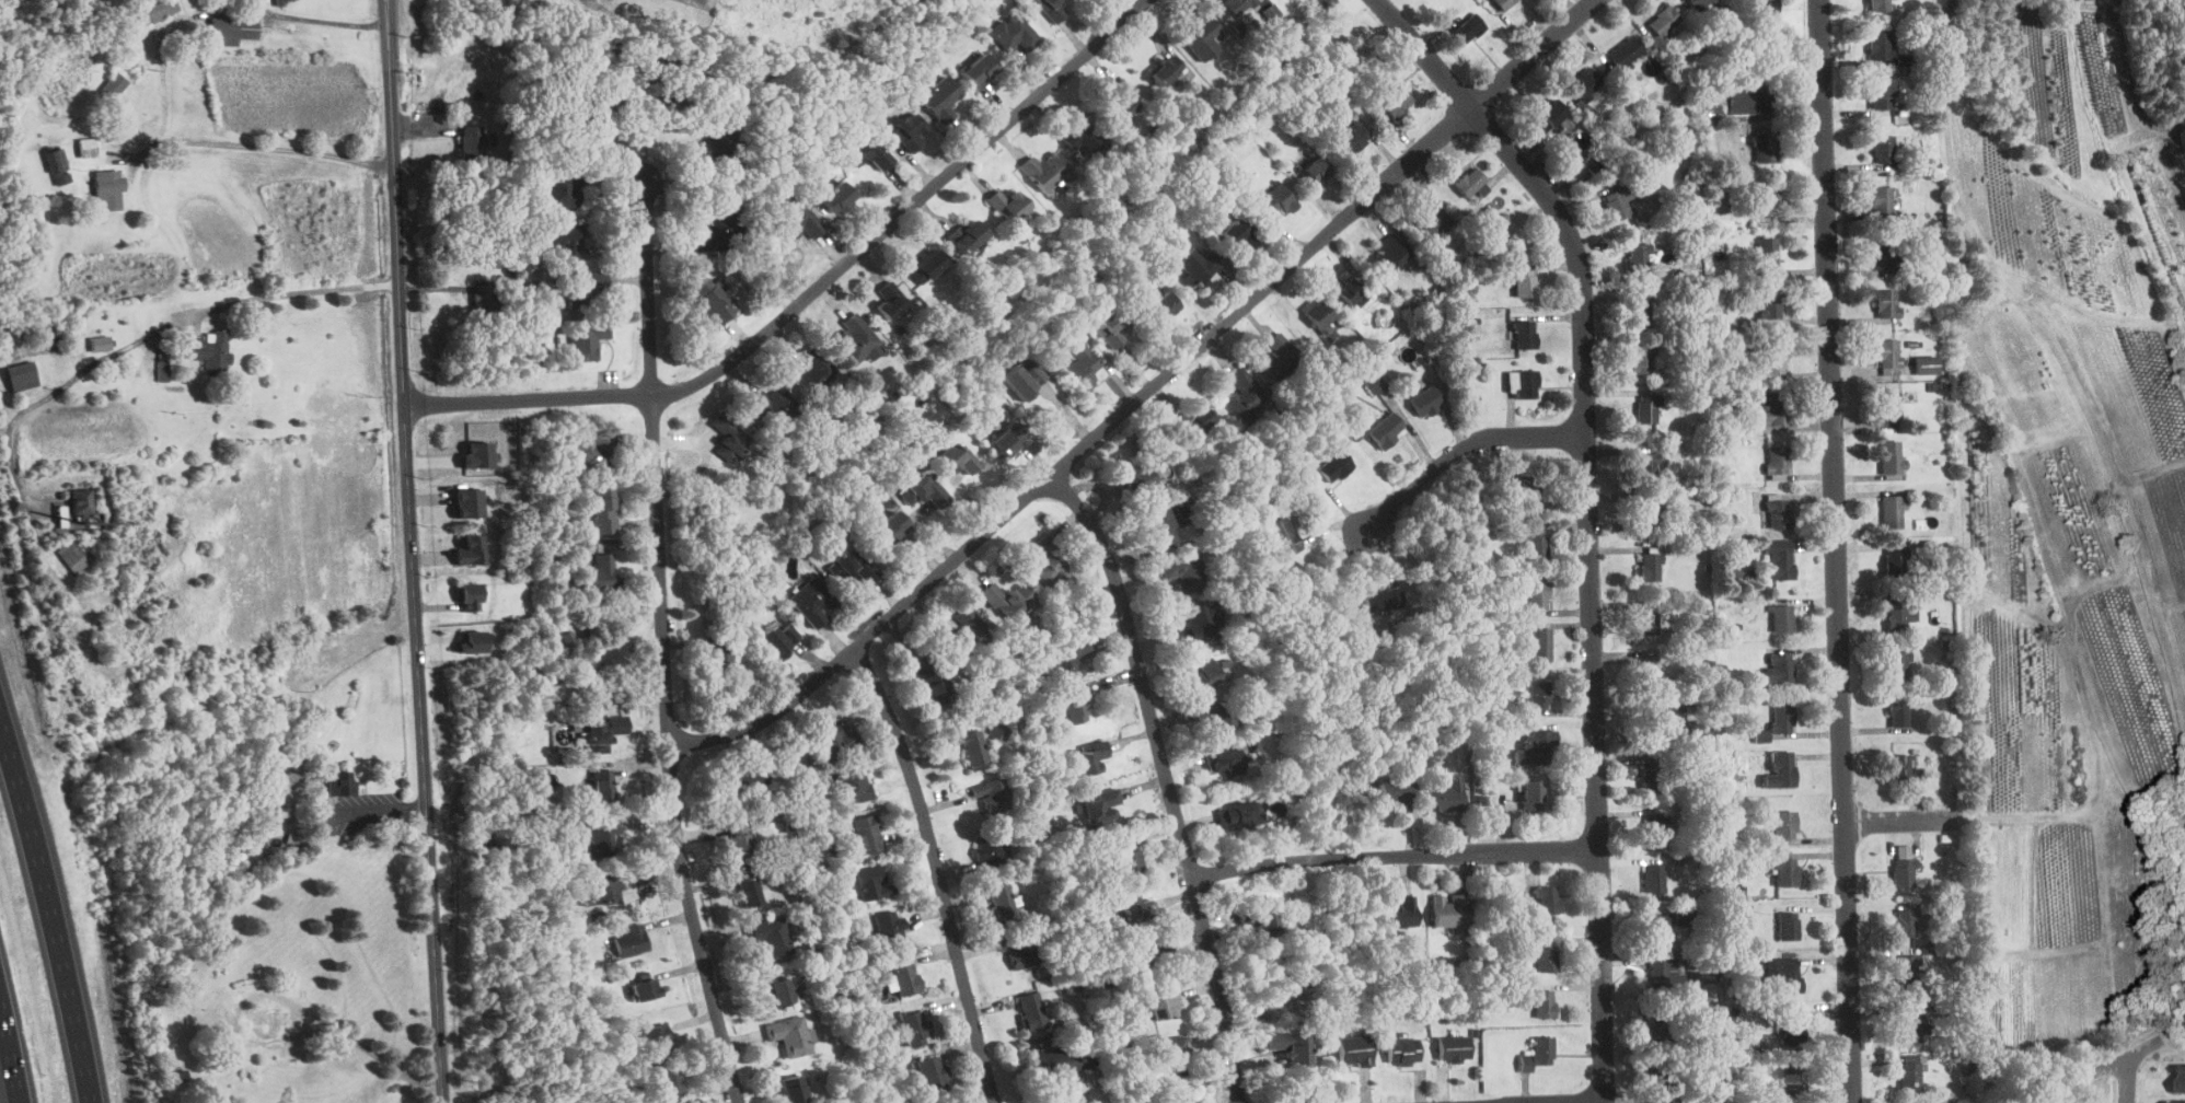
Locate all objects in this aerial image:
building: (285, 1)
building: (1325, 3)
building: (1503, 3)
building: (1700, 3)
building: (1237, 5)
building: (1765, 5)
building: (1878, 5)
building: (1053, 8)
building: (154, 10)
road: (333, 20)
building: (1663, 22)
building: (233, 27)
building: (1468, 28)
building: (1014, 32)
building: (1203, 39)
building: (1880, 46)
building: (1626, 54)
building: (1168, 69)
building: (980, 70)
building: (1585, 84)
building: (113, 85)
building: (1881, 95)
building: (940, 98)
building: (1121, 98)
building: (1750, 98)
building: (652, 100)
building: (1397, 103)
building: (1552, 113)
building: (593, 123)
building: (909, 131)
building: (1083, 138)
building: (1353, 138)
building: (470, 143)
road: (262, 147)
building: (88, 148)
building: (719, 149)
building: (1764, 149)
building: (1884, 149)
building: (866, 152)
building: (57, 166)
building: (1316, 170)
building: (1044, 171)
building: (1470, 183)
building: (564, 188)
building: (108, 190)
building: (836, 197)
building: (1619, 197)
building: (1276, 200)
building: (1765, 201)
building: (1881, 201)
building: (1007, 205)
building: (793, 214)
building: (1433, 221)
building: (718, 231)
building: (1237, 234)
building: (967, 236)
building: (564, 239)
building: (1389, 252)
building: (1767, 254)
building: (1886, 254)
building: (1639, 258)
building: (927, 266)
building: (1198, 267)
building: (1523, 282)
building: (580, 288)
road: (811, 290)
building: (1350, 290)
building: (483, 298)
building: (713, 301)
building: (891, 301)
building: (1887, 303)
building: (1770, 304)
building: (1165, 305)
building: (1318, 314)
building: (1639, 314)
building: (1110, 327)
road: (151, 334)
building: (1524, 334)
building: (586, 339)
building: (855, 339)
building: (100, 342)
building: (209, 352)
building: (1887, 353)
building: (1279, 358)
building: (1641, 359)
building: (1773, 359)
building: (163, 364)
building: (1927, 364)
building: (1082, 365)
building: (817, 369)
building: (21, 375)
building: (1022, 381)
building: (1375, 382)
building: (1522, 384)
road: (1143, 394)
building: (1244, 395)
road: (405, 399)
building: (1426, 400)
building: (774, 406)
building: (1774, 408)
building: (1886, 408)
building: (1646, 409)
building: (1196, 422)
building: (1387, 430)
building: (729, 438)
building: (1009, 438)
road: (1461, 446)
building: (477, 454)
building: (592, 454)
building: (1891, 457)
building: (957, 458)
building: (1777, 462)
building: (1336, 466)
building: (1644, 467)
building: (1136, 476)
building: (922, 491)
building: (1529, 492)
building: (469, 502)
building: (82, 507)
building: (603, 511)
building: (1893, 512)
building: (1778, 513)
building: (1646, 514)
road: (1586, 516)
building: (891, 526)
building: (1160, 527)
building: (1282, 536)
building: (1536, 544)
building: (470, 549)
road: (1836, 550)
building: (72, 556)
building: (1779, 559)
building: (1896, 562)
building: (1045, 564)
building: (851, 566)
building: (1650, 568)
building: (1184, 572)
building: (600, 574)
building: (470, 596)
building: (1538, 596)
building: (1385, 597)
building: (1006, 600)
building: (811, 601)
building: (1781, 618)
building: (1896, 618)
building: (1648, 620)
building: (1199, 623)
building: (107, 625)
building: (969, 630)
building: (777, 639)
building: (473, 641)
road: (662, 643)
building: (1541, 645)
building: (1067, 658)
building: (718, 659)
building: (1898, 663)
building: (1779, 667)
building: (1649, 669)
building: (1202, 673)
building: (928, 681)
building: (1539, 695)
building: (596, 701)
building: (1074, 708)
building: (1898, 713)
building: (1215, 716)
building: (1782, 718)
building: (1658, 722)
building: (1698, 728)
building: (604, 732)
building: (997, 732)
building: (1761, 735)
building: (835, 741)
building: (1539, 747)
building: (974, 751)
building: (1090, 758)
building: (1224, 762)
building: (1900, 767)
building: (1781, 770)
building: (1651, 778)
road: (1166, 779)
building: (748, 781)
building: (342, 783)
building: (603, 783)
building: (853, 785)
building: (1396, 791)
building: (993, 794)
building: (1531, 796)
building: (1444, 798)
building: (1099, 808)
building: (1241, 815)
road: (1904, 818)
building: (325, 821)
building: (1784, 823)
building: (1655, 827)
building: (865, 835)
building: (600, 836)
building: (738, 844)
building: (989, 851)
road: (1391, 852)
building: (1126, 857)
building: (1903, 864)
road: (936, 870)
building: (1785, 870)
building: (1653, 880)
building: (872, 882)
building: (604, 890)
building: (748, 891)
building: (1546, 898)
building: (1001, 902)
road: (51, 905)
building: (1135, 907)
building: (1449, 908)
building: (1401, 910)
building: (1683, 915)
building: (1258, 917)
building: (1906, 921)
building: (1788, 925)
building: (889, 927)
building: (1657, 927)
building: (768, 934)
building: (631, 939)
building: (1018, 949)
road: (435, 951)
building: (1138, 952)
building: (1545, 956)
building: (1908, 968)
building: (1663, 973)
building: (904, 974)
building: (1789, 974)
building: (644, 988)
building: (779, 990)
building: (1710, 991)
building: (1165, 1001)
building: (1544, 1002)
building: (1030, 1010)
building: (261, 1024)
building: (1656, 1025)
building: (915, 1026)
building: (1910, 1026)
building: (1793, 1027)
building: (789, 1034)
building: (657, 1038)
building: (1288, 1046)
building: (1455, 1048)
building: (1355, 1049)
road: (11, 1050)
building: (1402, 1050)
road: (375, 1053)
building: (1169, 1054)
building: (1538, 1054)
building: (1059, 1059)
building: (1909, 1071)
building: (932, 1073)
building: (1792, 1076)
building: (2177, 1077)
building: (668, 1082)
road: (2126, 1082)
building: (1663, 1087)
building: (793, 1090)
building: (2173, 1101)

